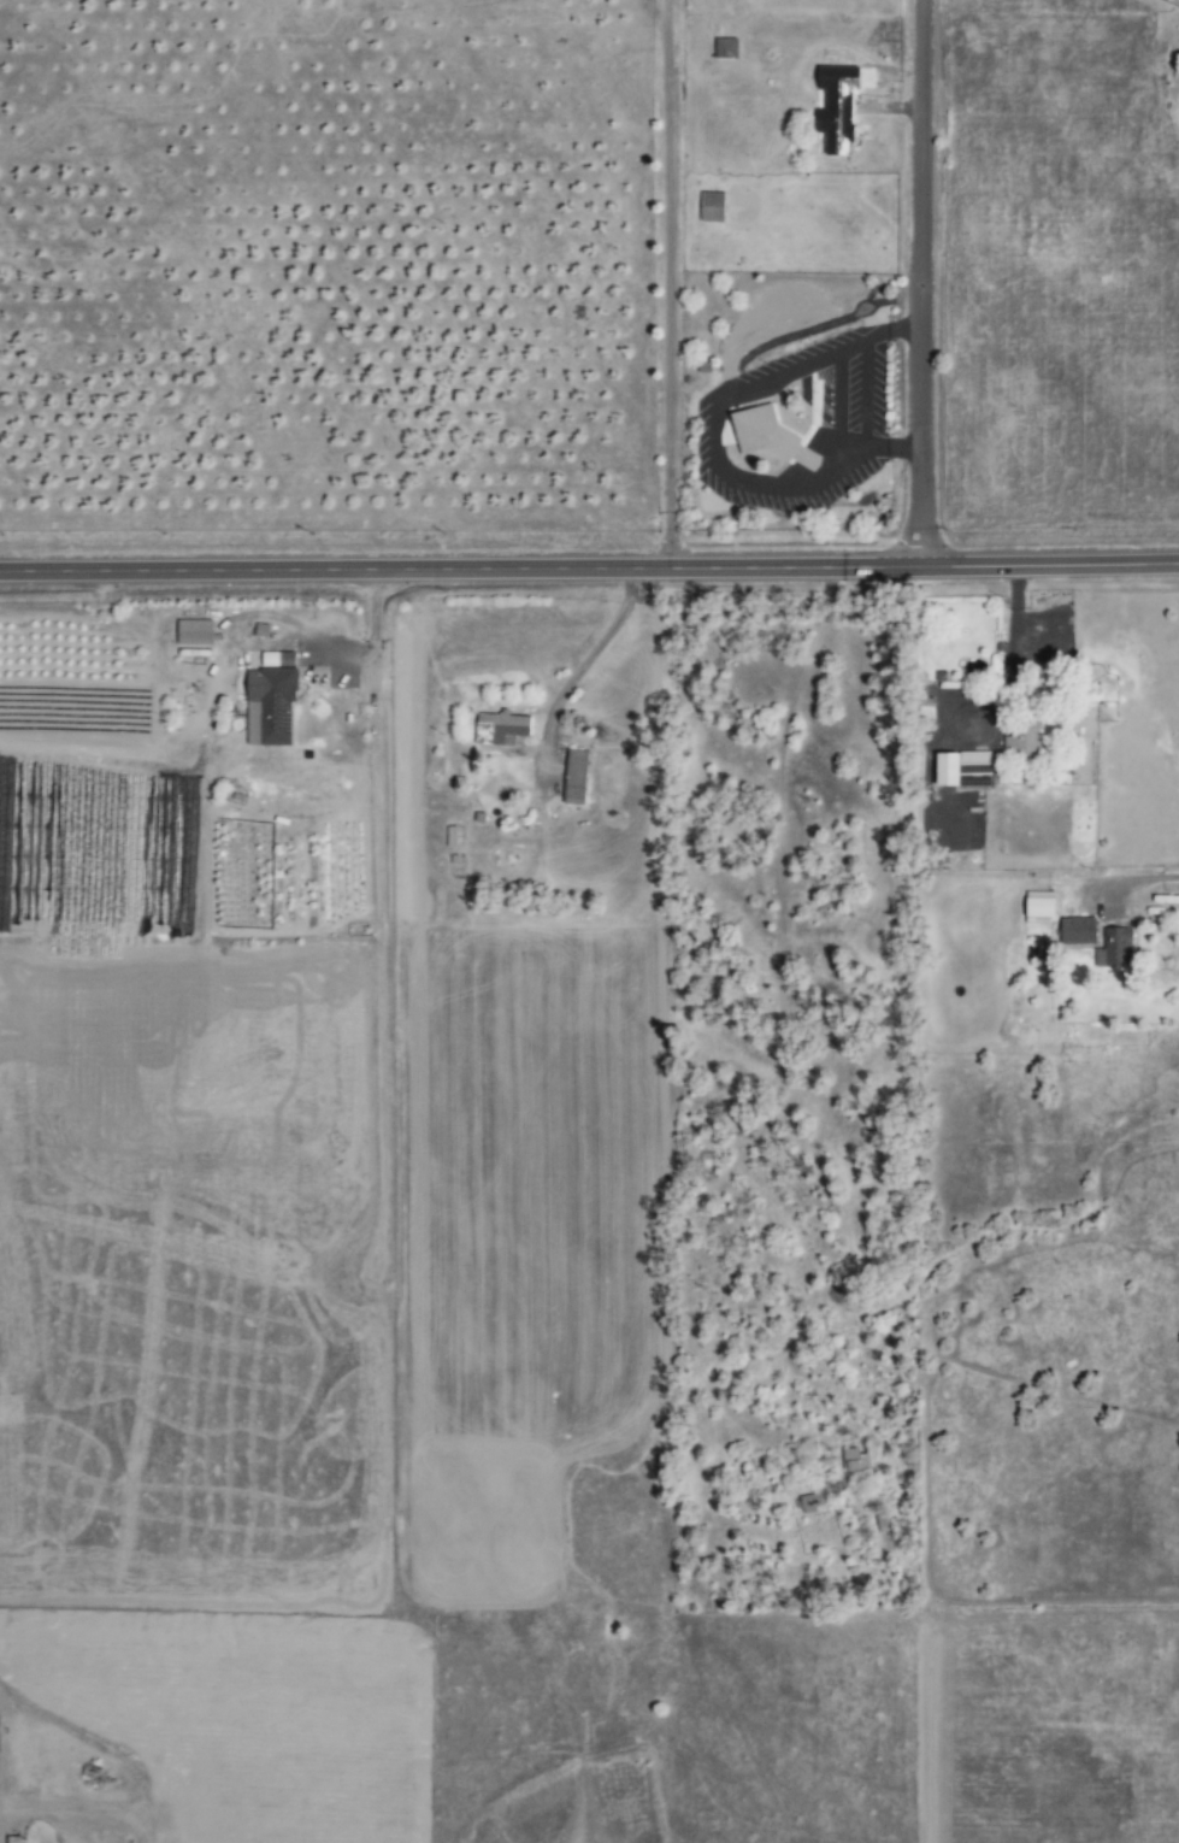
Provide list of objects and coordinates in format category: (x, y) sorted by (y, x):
building: (841, 126)
building: (715, 207)
road: (925, 283)
building: (772, 437)
road: (589, 571)
building: (198, 632)
building: (275, 702)
building: (503, 728)
building: (1026, 736)
building: (967, 770)
building: (579, 778)
building: (454, 837)
road: (1144, 878)
building: (1044, 912)
building: (1080, 932)
building: (1118, 949)
building: (814, 1503)

